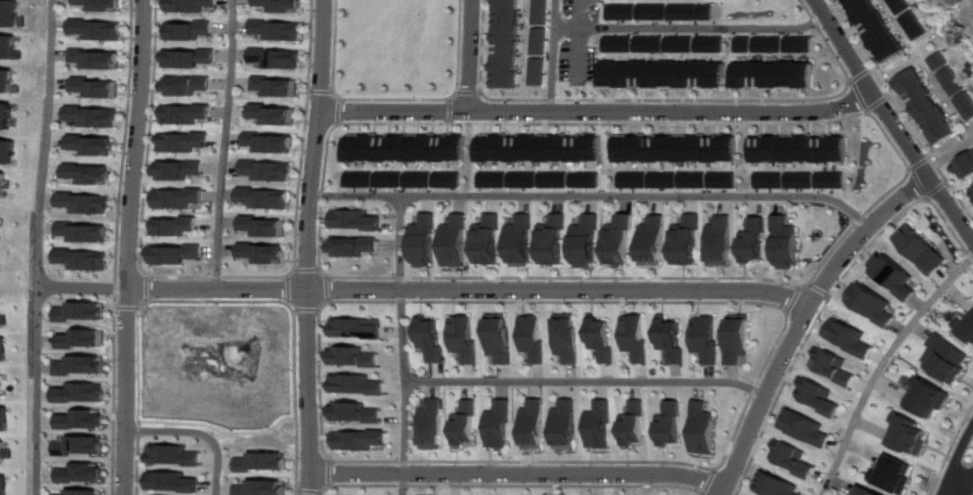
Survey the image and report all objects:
parking lot: (583, 4)
building: (95, 5)
building: (185, 5)
building: (274, 5)
building: (900, 5)
building: (624, 12)
building: (654, 12)
building: (684, 12)
building: (708, 12)
building: (8, 13)
building: (914, 25)
road: (691, 28)
building: (93, 29)
building: (875, 29)
building: (183, 30)
building: (270, 30)
road: (583, 40)
road: (946, 40)
building: (540, 43)
building: (623, 44)
building: (652, 44)
building: (683, 44)
building: (713, 44)
building: (800, 44)
building: (505, 45)
building: (746, 45)
building: (770, 45)
park: (392, 47)
building: (8, 48)
road: (328, 51)
road: (468, 54)
road: (557, 55)
building: (184, 57)
building: (269, 58)
building: (92, 59)
building: (938, 61)
parking lot: (583, 62)
building: (670, 75)
building: (778, 75)
road: (861, 75)
building: (6, 80)
building: (952, 81)
building: (183, 85)
building: (271, 86)
building: (92, 87)
road: (315, 91)
road: (468, 92)
road: (860, 96)
road: (487, 97)
road: (443, 99)
road: (771, 101)
road: (880, 103)
building: (966, 105)
building: (927, 108)
road: (900, 109)
road: (597, 110)
road: (335, 111)
road: (450, 111)
building: (182, 114)
building: (270, 114)
building: (6, 116)
building: (90, 116)
road: (892, 120)
road: (529, 124)
road: (125, 132)
road: (149, 132)
road: (302, 133)
road: (892, 139)
building: (181, 142)
building: (267, 142)
road: (223, 143)
building: (91, 145)
building: (543, 147)
building: (406, 148)
building: (681, 149)
building: (800, 149)
building: (8, 151)
road: (949, 158)
road: (922, 163)
building: (965, 167)
building: (179, 169)
building: (266, 170)
building: (89, 173)
building: (360, 179)
building: (391, 179)
building: (451, 179)
building: (421, 180)
building: (498, 180)
building: (527, 180)
building: (559, 180)
building: (589, 180)
building: (636, 180)
building: (667, 180)
building: (770, 180)
building: (801, 180)
building: (831, 180)
building: (696, 181)
building: (727, 181)
building: (4, 183)
road: (919, 183)
road: (936, 188)
building: (971, 190)
road: (596, 196)
building: (180, 198)
building: (266, 198)
road: (926, 198)
building: (88, 202)
road: (873, 209)
building: (359, 219)
building: (1, 225)
building: (179, 226)
building: (268, 226)
building: (87, 232)
building: (524, 239)
building: (557, 239)
building: (655, 239)
building: (688, 239)
building: (721, 239)
building: (427, 240)
building: (491, 240)
building: (623, 240)
building: (754, 240)
building: (459, 241)
building: (590, 241)
building: (785, 241)
building: (357, 246)
road: (45, 247)
road: (134, 247)
road: (313, 247)
building: (917, 248)
building: (180, 253)
building: (266, 253)
building: (87, 259)
building: (3, 267)
road: (310, 270)
building: (893, 276)
road: (220, 277)
road: (587, 278)
road: (331, 288)
road: (429, 288)
road: (151, 289)
road: (291, 289)
road: (820, 290)
road: (830, 297)
road: (794, 300)
road: (220, 301)
building: (872, 304)
road: (132, 307)
road: (309, 309)
building: (85, 311)
building: (4, 317)
road: (803, 319)
building: (966, 324)
building: (357, 328)
building: (569, 337)
building: (639, 337)
building: (851, 337)
building: (83, 338)
building: (429, 338)
building: (498, 338)
building: (533, 338)
building: (463, 339)
building: (604, 339)
building: (675, 339)
building: (711, 339)
building: (742, 339)
road: (399, 345)
building: (5, 349)
building: (352, 356)
building: (946, 358)
building: (84, 365)
building: (836, 366)
road: (884, 369)
road: (117, 379)
road: (584, 382)
building: (2, 384)
building: (353, 384)
building: (83, 393)
building: (822, 396)
building: (928, 397)
building: (352, 412)
building: (5, 419)
building: (84, 419)
building: (459, 423)
building: (530, 423)
building: (598, 423)
road: (741, 423)
building: (425, 424)
building: (494, 424)
building: (563, 424)
building: (632, 424)
building: (669, 424)
building: (703, 427)
building: (805, 427)
road: (219, 431)
road: (199, 433)
building: (906, 434)
building: (354, 439)
building: (82, 445)
road: (950, 451)
building: (5, 453)
building: (174, 454)
building: (793, 458)
road: (954, 459)
building: (259, 462)
road: (325, 472)
building: (82, 473)
road: (516, 473)
building: (890, 474)
building: (173, 481)
building: (774, 484)
building: (4, 485)
road: (505, 485)
road: (968, 485)
building: (260, 488)
building: (863, 490)
road: (950, 491)
building: (85, 492)
road: (306, 492)

